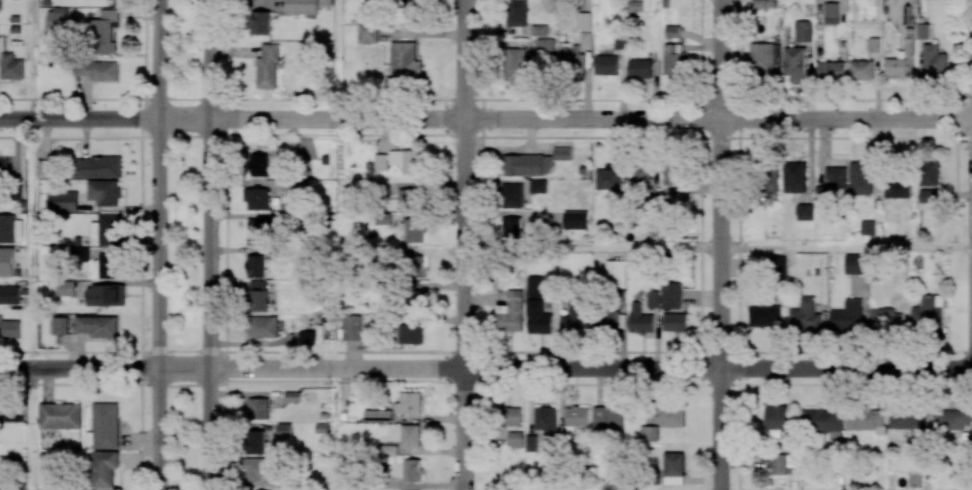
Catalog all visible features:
building: (758, 4)
building: (0, 5)
building: (301, 7)
building: (831, 12)
building: (516, 13)
building: (57, 18)
building: (583, 21)
building: (260, 22)
building: (672, 31)
building: (803, 31)
building: (101, 32)
building: (367, 34)
building: (2, 44)
building: (543, 44)
building: (874, 45)
building: (576, 54)
building: (764, 58)
building: (673, 59)
building: (933, 59)
road: (33, 60)
building: (517, 62)
building: (405, 63)
building: (794, 63)
building: (606, 65)
building: (895, 66)
building: (11, 67)
building: (268, 67)
building: (639, 69)
building: (831, 69)
building: (95, 70)
building: (861, 70)
road: (79, 120)
road: (565, 120)
building: (562, 154)
building: (407, 161)
building: (380, 162)
building: (258, 164)
building: (527, 165)
building: (4, 167)
building: (99, 167)
building: (45, 168)
building: (672, 173)
building: (928, 173)
building: (640, 176)
building: (860, 177)
building: (835, 178)
building: (607, 179)
building: (768, 181)
building: (794, 181)
building: (538, 186)
building: (898, 188)
building: (104, 192)
building: (512, 196)
building: (928, 196)
building: (256, 198)
building: (409, 199)
building: (63, 202)
building: (805, 212)
building: (575, 220)
building: (512, 227)
building: (7, 228)
building: (867, 228)
building: (106, 230)
building: (413, 230)
building: (259, 231)
road: (33, 243)
road: (141, 244)
road: (159, 245)
park: (184, 245)
road: (210, 245)
road: (229, 245)
road: (465, 245)
road: (719, 245)
road: (592, 246)
road: (845, 246)
building: (79, 254)
building: (7, 261)
building: (855, 264)
building: (108, 265)
building: (255, 265)
building: (415, 266)
building: (777, 268)
building: (615, 274)
building: (534, 287)
building: (65, 288)
building: (10, 294)
building: (105, 295)
building: (257, 295)
building: (670, 295)
building: (413, 298)
building: (652, 298)
building: (928, 311)
building: (510, 313)
building: (764, 315)
building: (804, 315)
building: (847, 316)
building: (537, 318)
building: (639, 319)
building: (885, 319)
building: (608, 320)
building: (674, 322)
building: (60, 324)
building: (574, 324)
building: (97, 326)
building: (260, 327)
building: (352, 328)
building: (10, 329)
building: (410, 334)
building: (306, 336)
road: (79, 367)
road: (565, 367)
building: (409, 403)
building: (258, 409)
building: (12, 413)
building: (59, 415)
building: (379, 415)
building: (509, 416)
building: (671, 417)
building: (576, 418)
building: (607, 418)
building: (777, 418)
building: (546, 420)
building: (866, 420)
building: (908, 420)
building: (952, 420)
building: (823, 421)
building: (104, 426)
road: (33, 428)
building: (284, 430)
building: (649, 433)
building: (410, 436)
building: (514, 439)
building: (255, 442)
building: (388, 450)
building: (782, 463)
building: (103, 468)
building: (256, 468)
building: (673, 468)
building: (411, 470)

